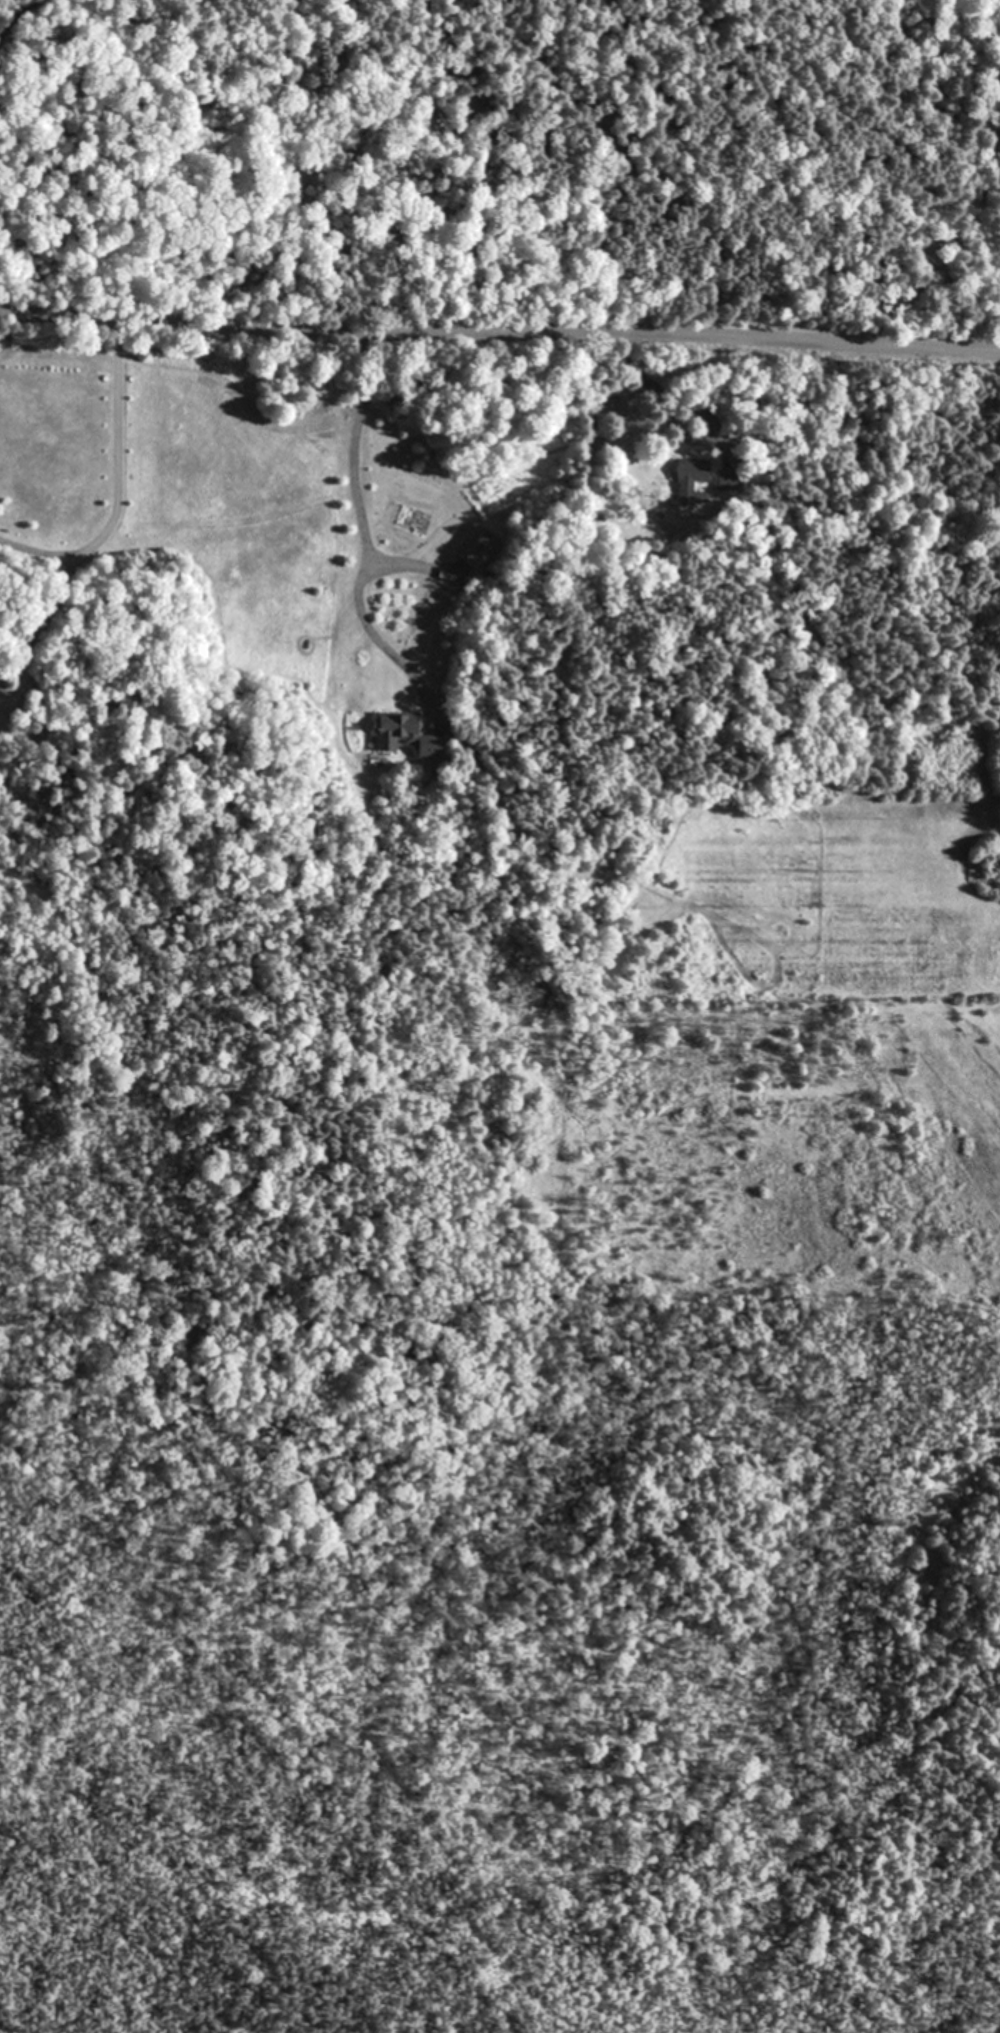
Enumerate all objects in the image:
road: (8, 15)
road: (499, 340)
building: (692, 471)
road: (352, 486)
road: (117, 490)
building: (475, 547)
road: (35, 628)
road: (377, 637)
building: (407, 733)

